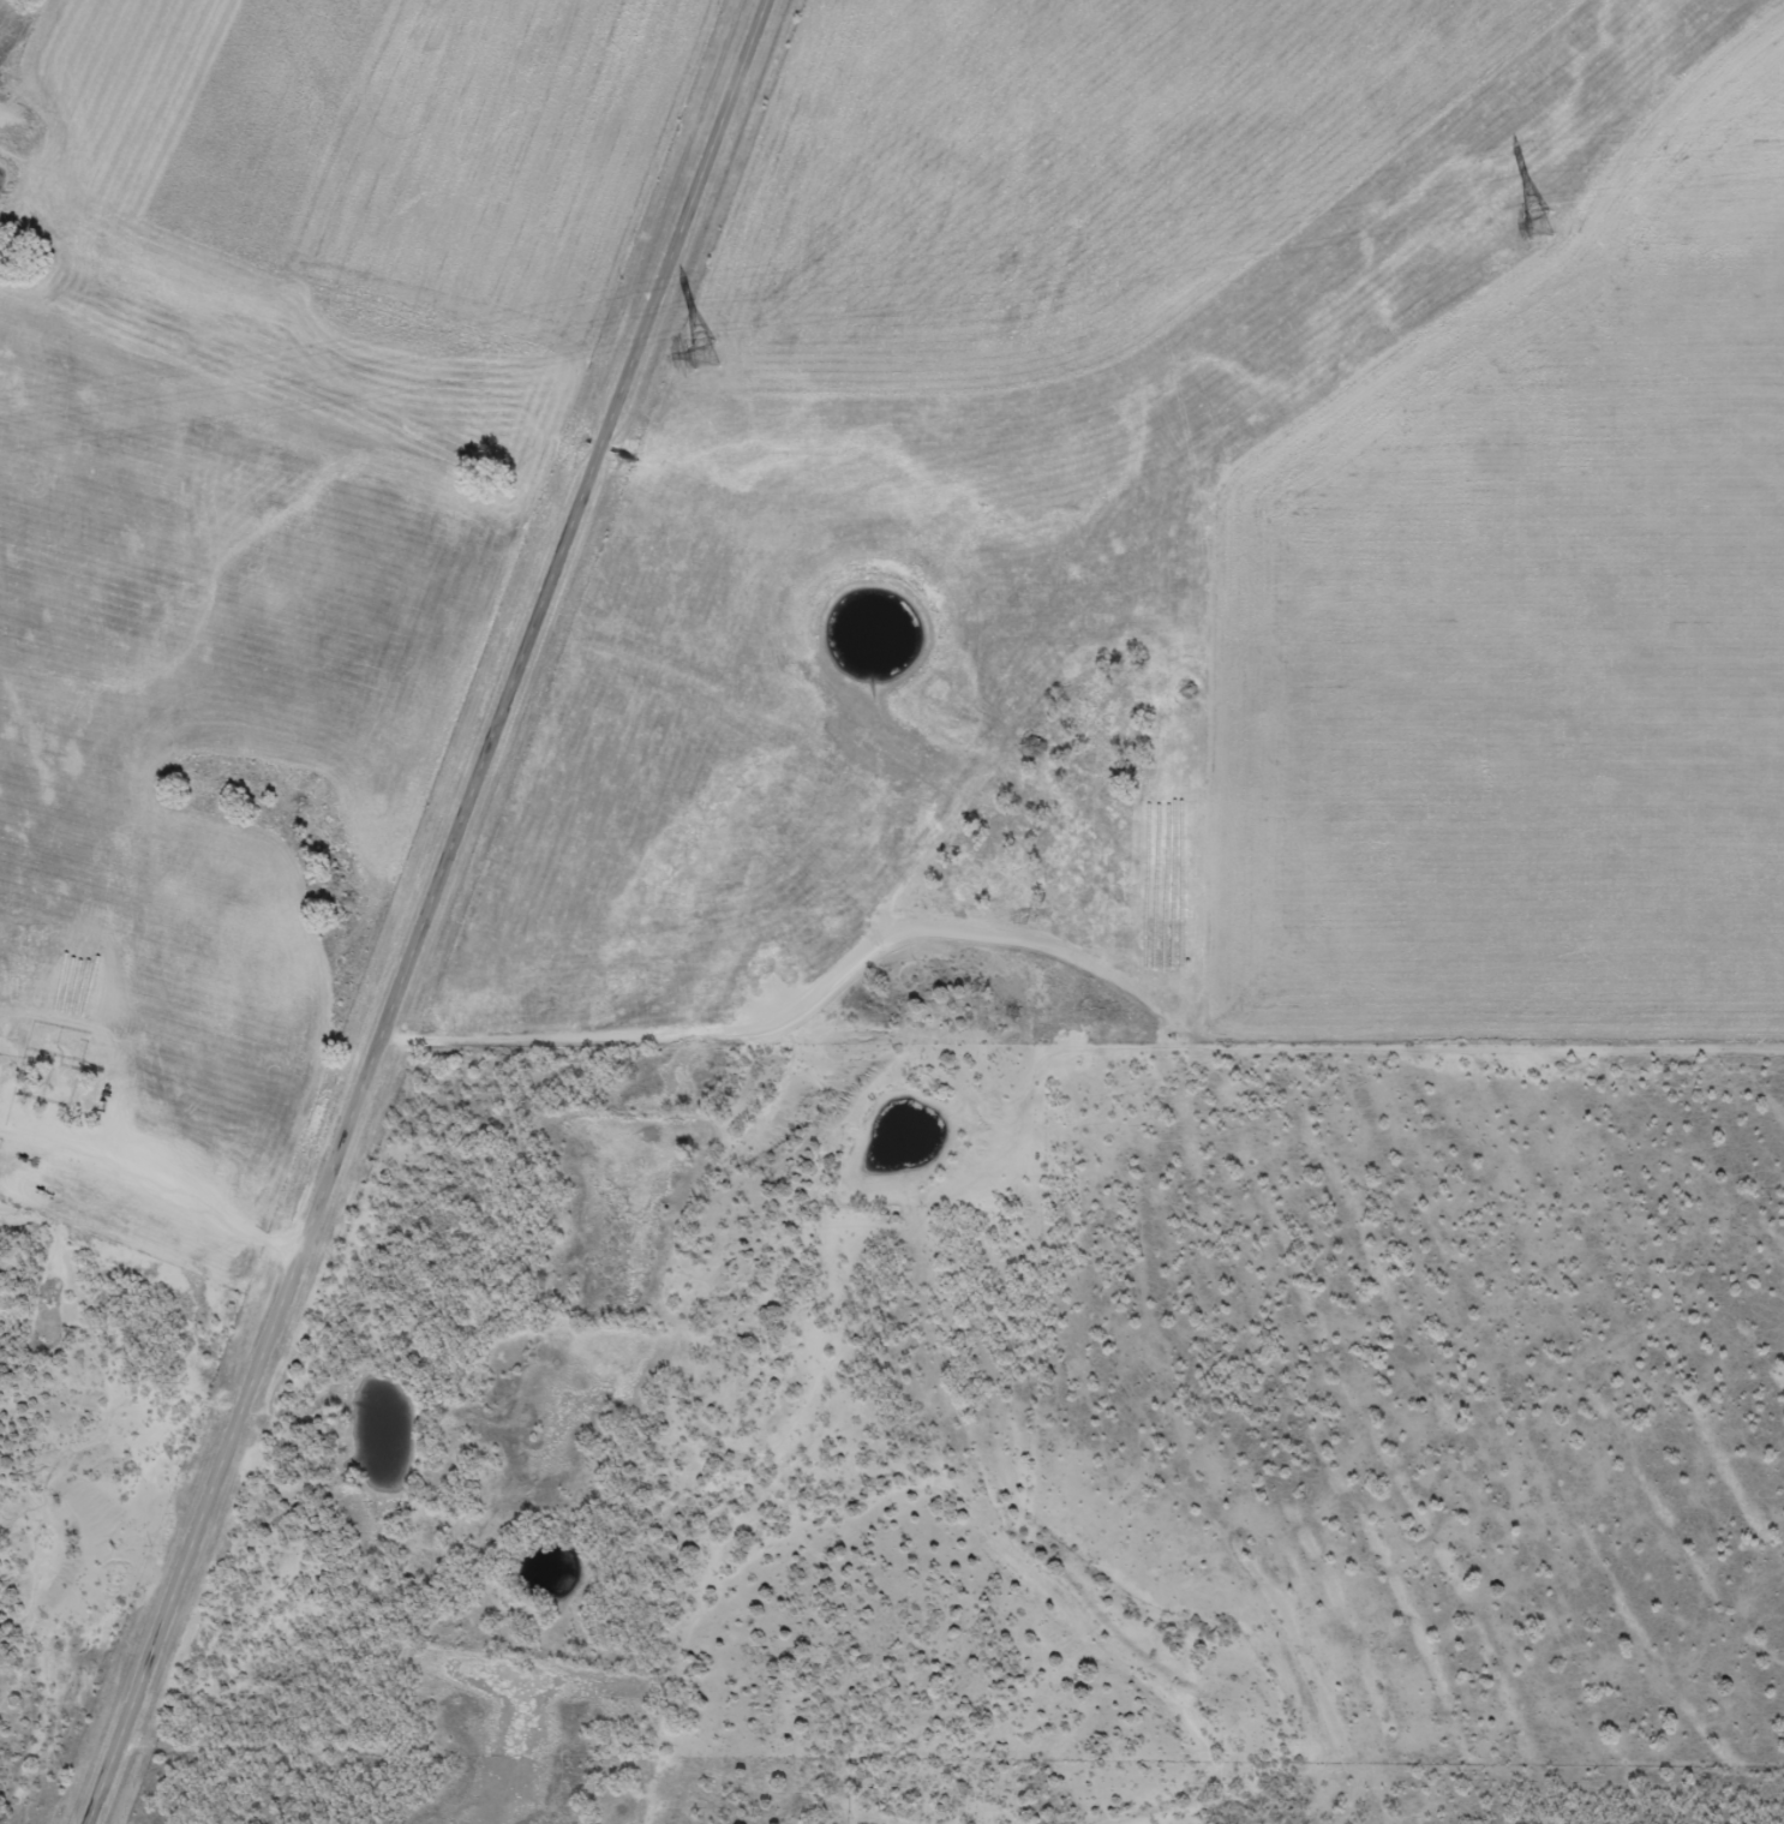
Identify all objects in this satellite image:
power tower: (1538, 228)
power tower: (707, 358)
road: (430, 911)
road: (729, 1037)

